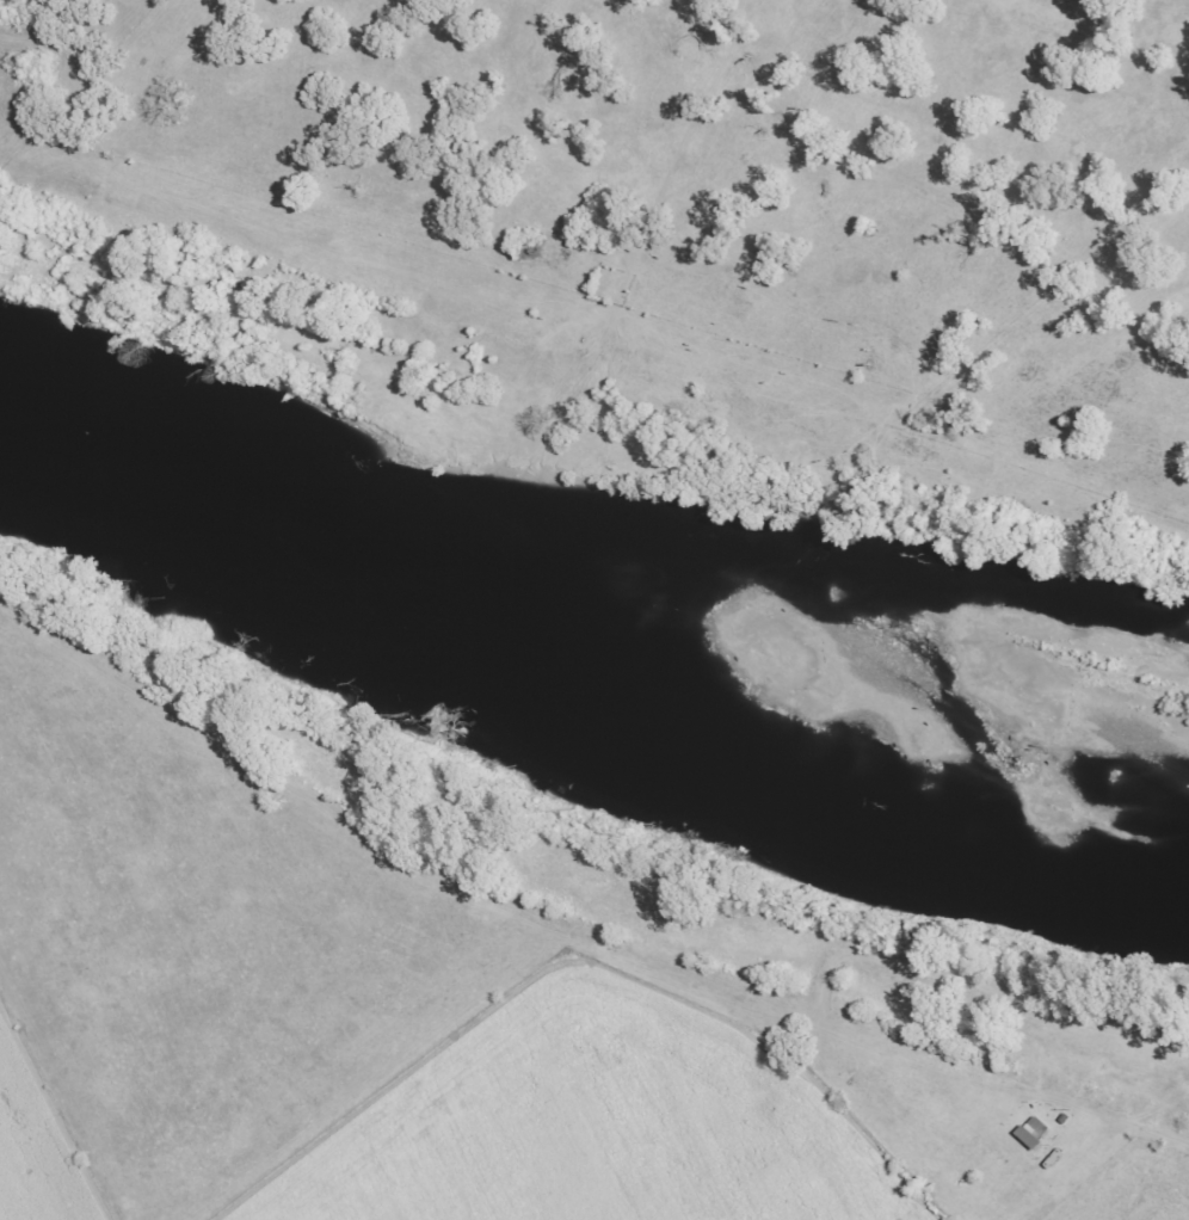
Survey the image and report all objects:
river: (591, 643)
building: (1033, 1132)

